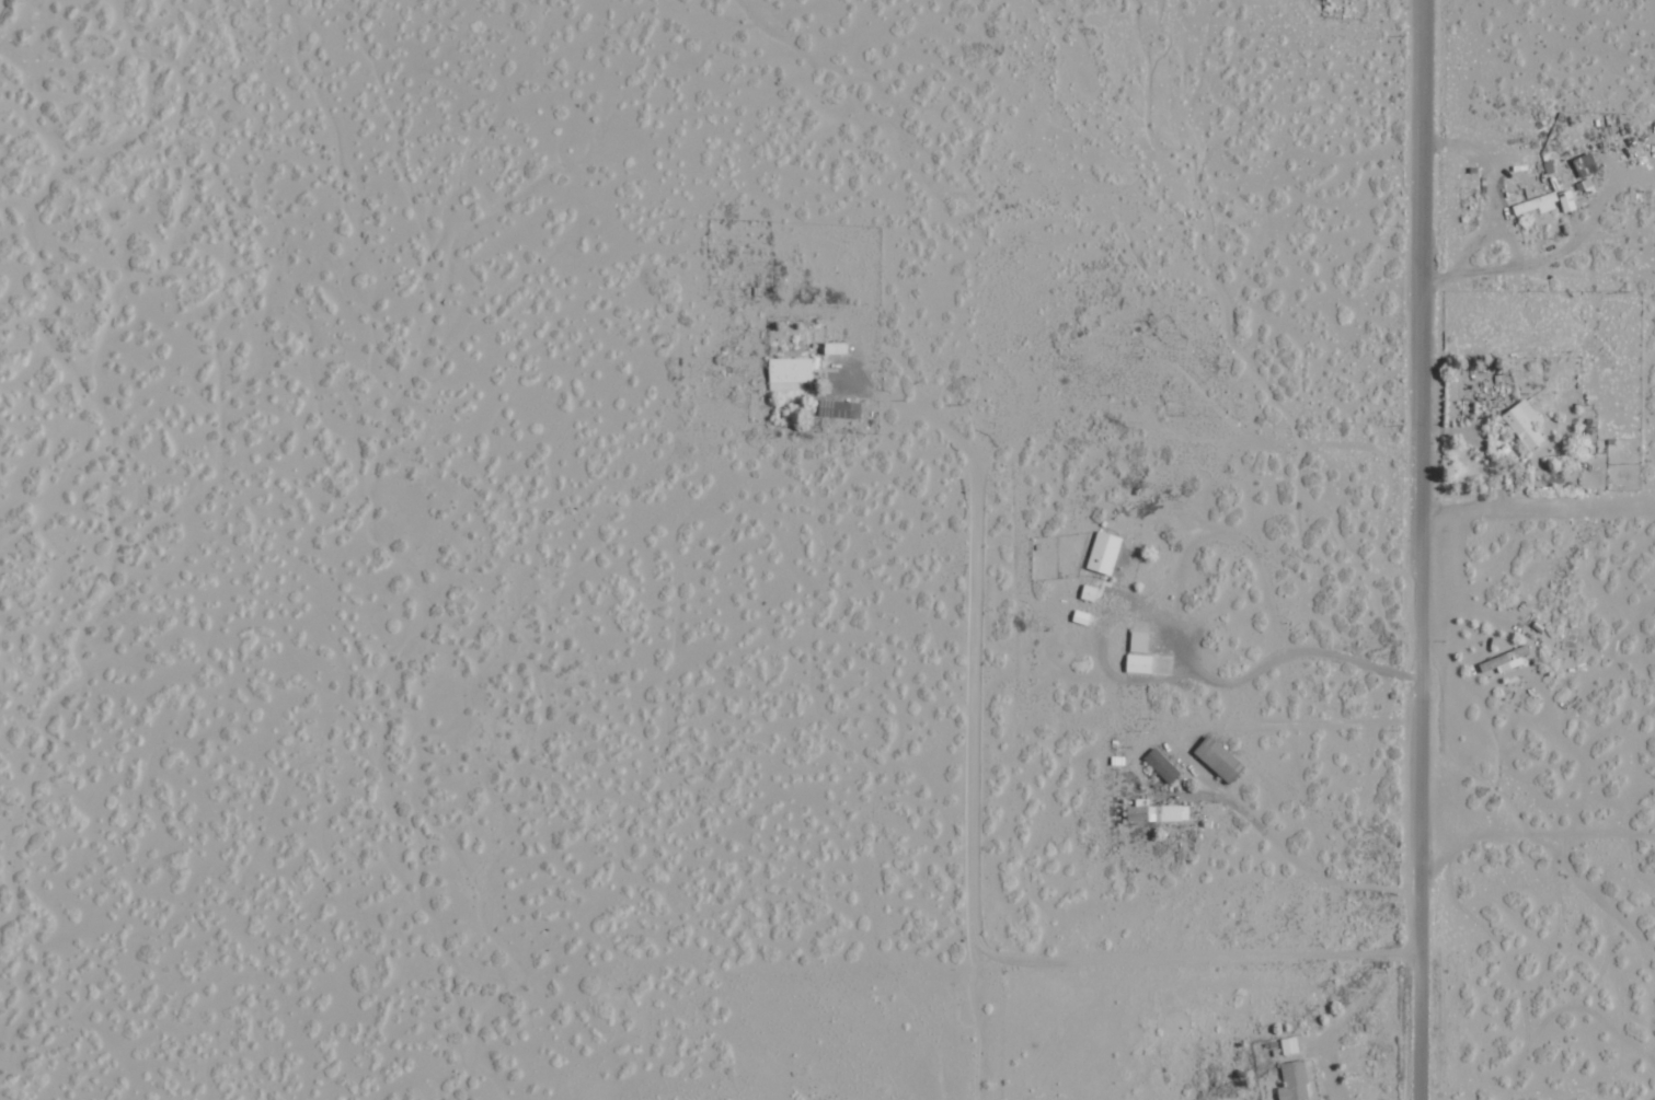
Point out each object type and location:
road: (1058, 80)
road: (1423, 222)
building: (790, 372)
building: (840, 409)
building: (1526, 424)
road: (1382, 506)
building: (1105, 552)
building: (1140, 637)
building: (1139, 662)
road: (975, 725)
building: (1220, 759)
building: (1163, 765)
building: (1159, 813)
road: (1538, 841)
road: (1198, 957)
building: (1295, 1081)

